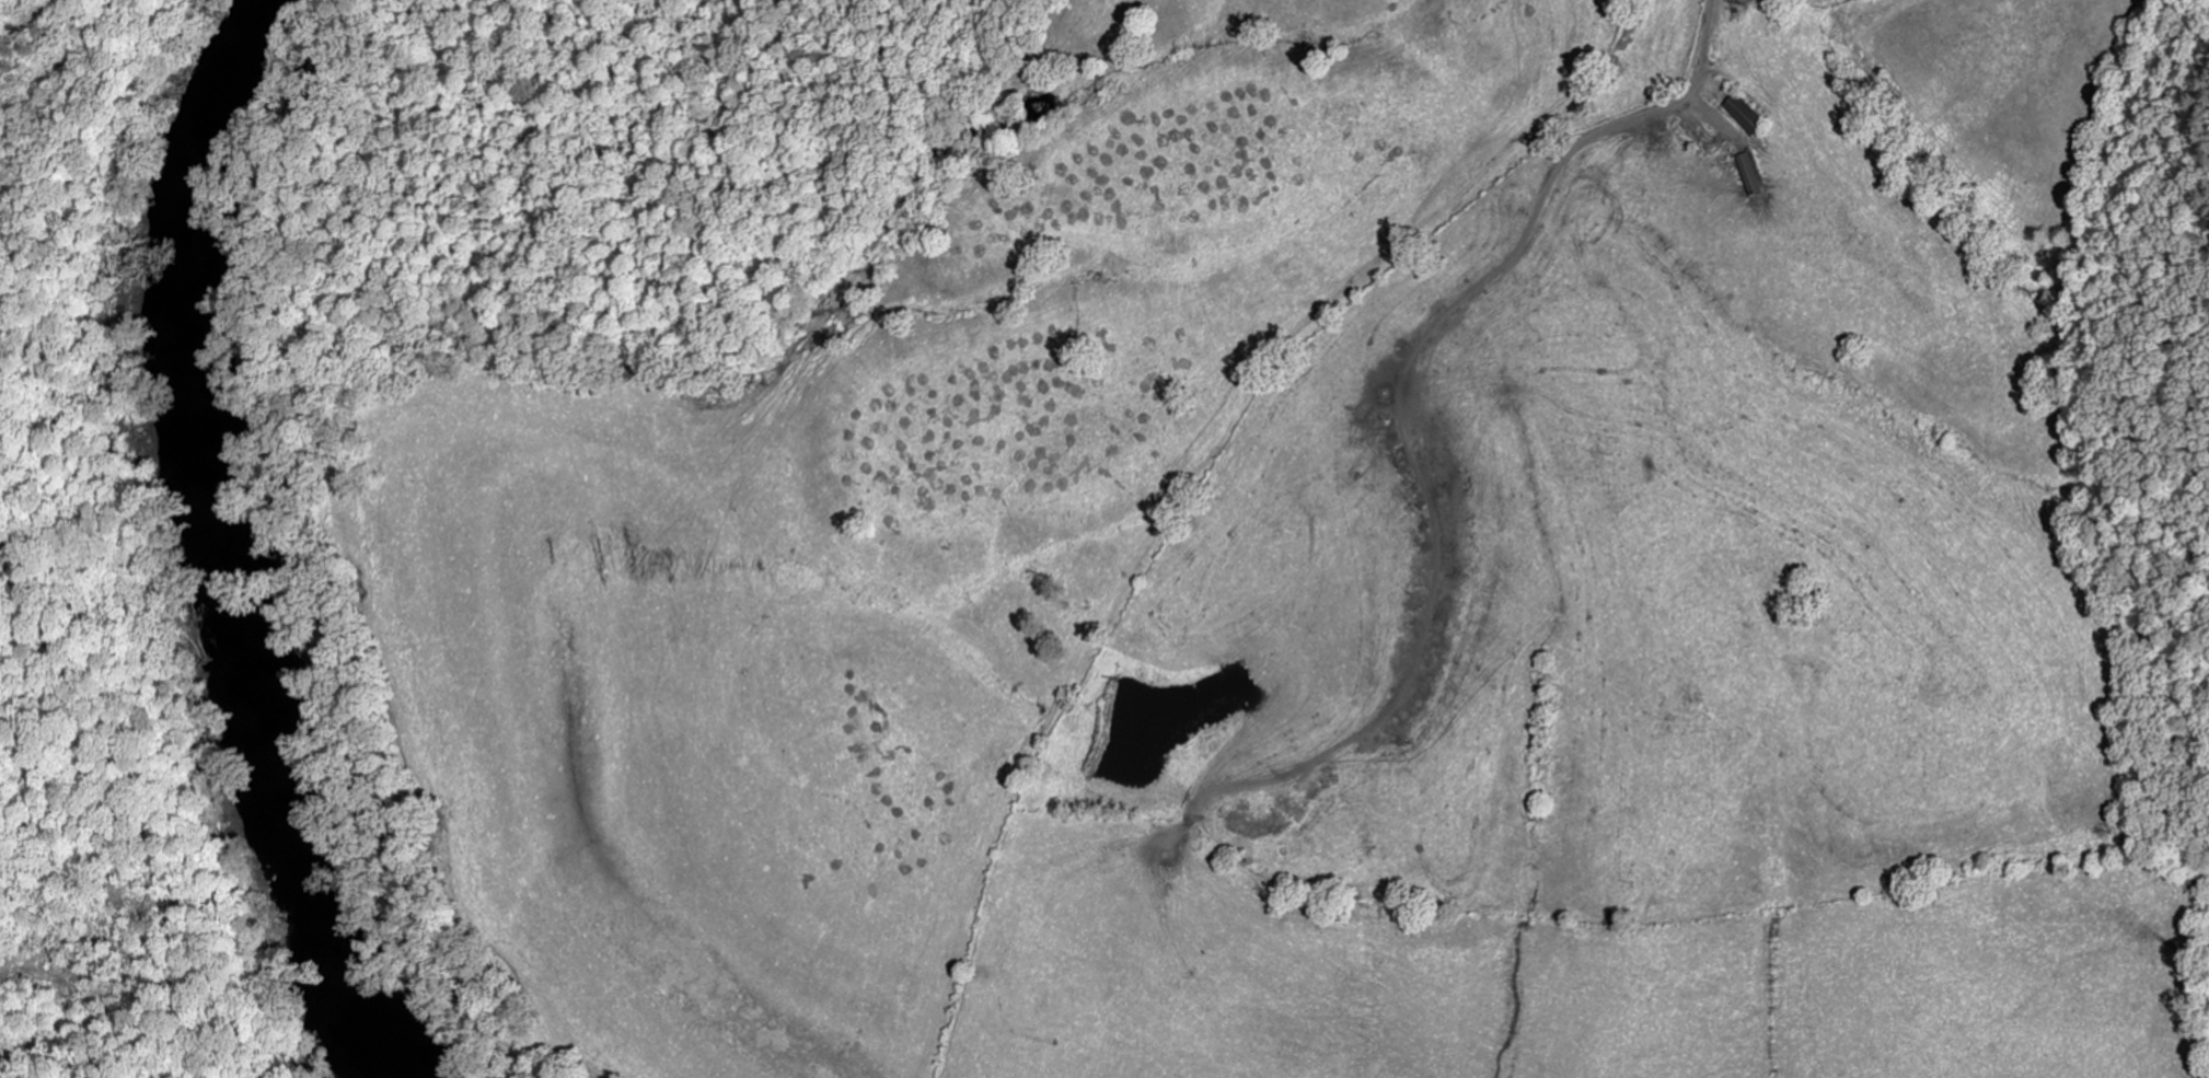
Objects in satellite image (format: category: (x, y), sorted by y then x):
building: (1750, 116)
building: (1756, 176)
river: (221, 559)

